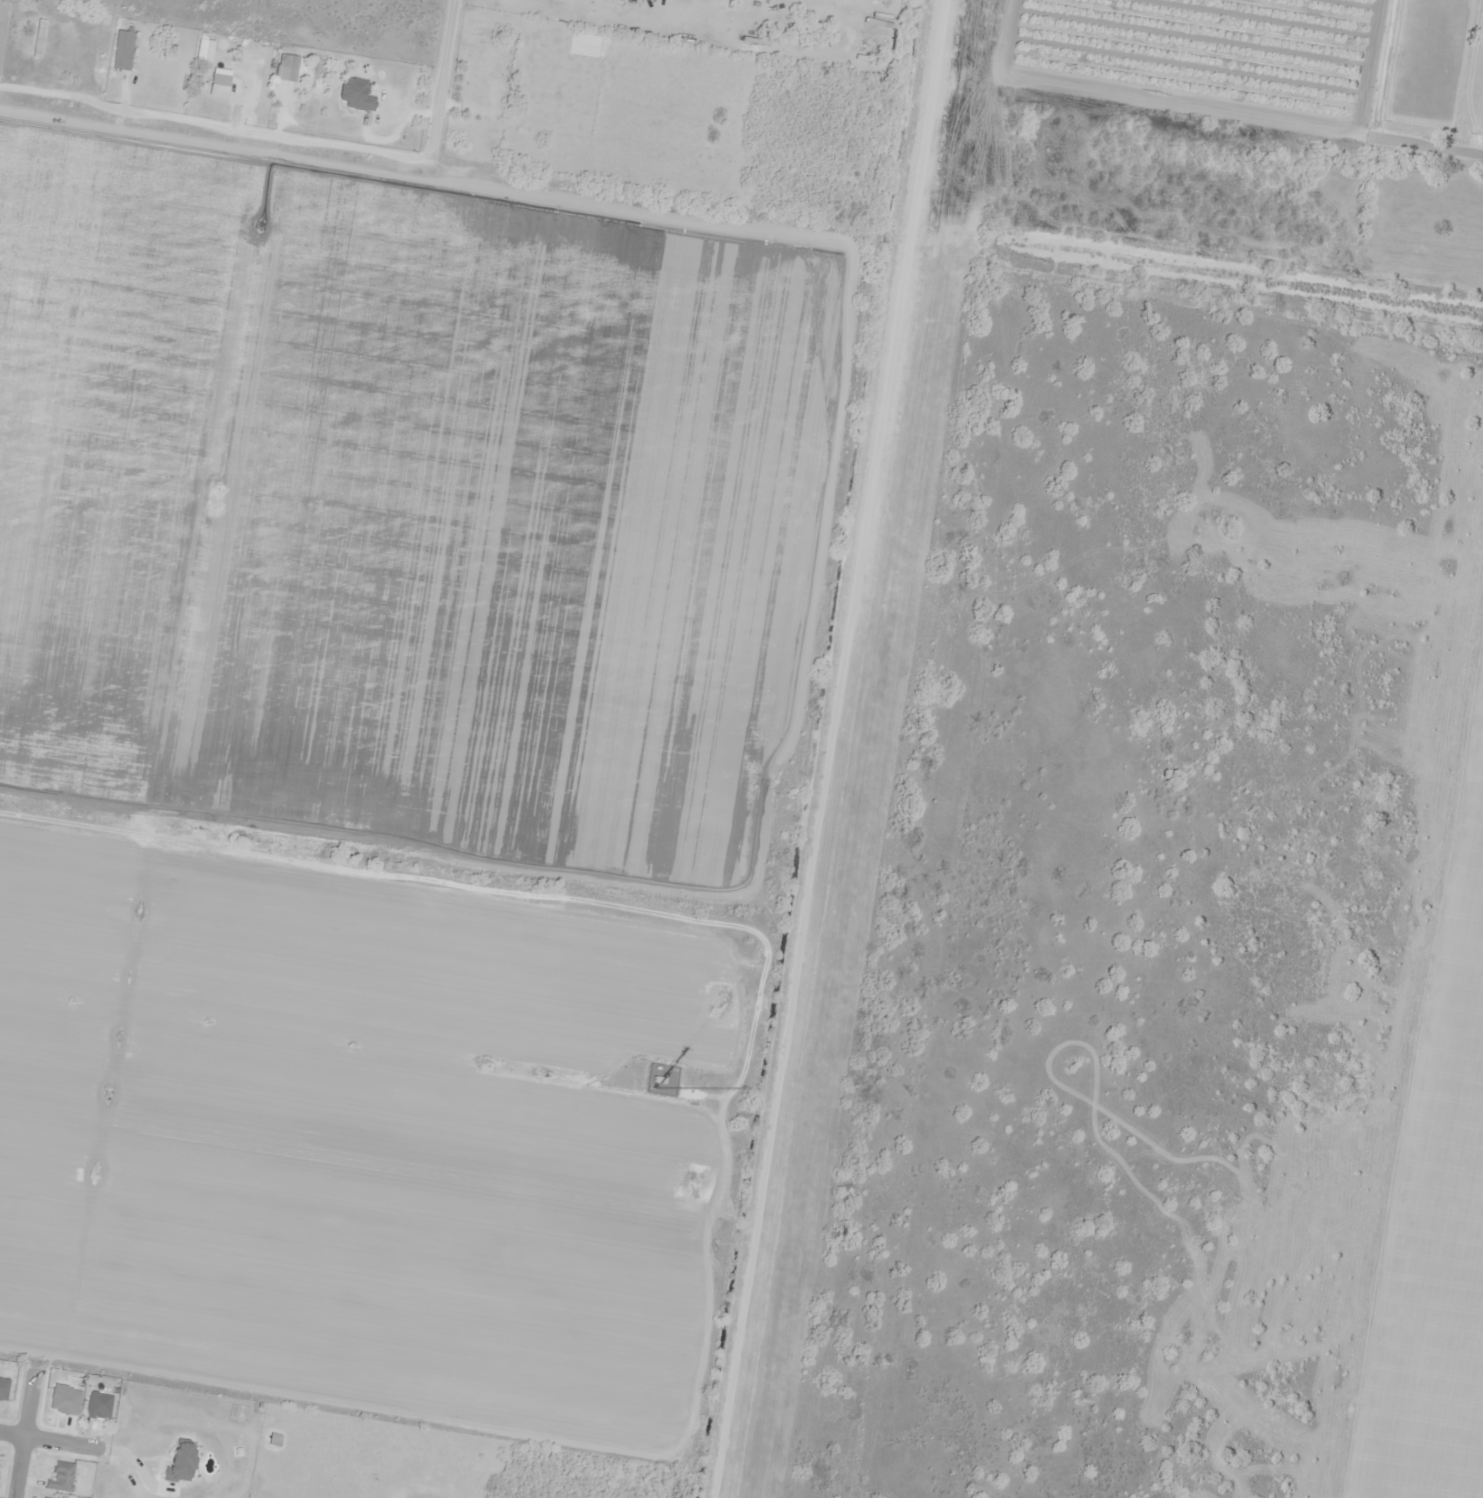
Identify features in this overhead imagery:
building: (59, 43)
building: (124, 50)
building: (283, 67)
road: (443, 79)
building: (219, 85)
building: (353, 94)
road: (215, 123)
road: (1431, 147)
railway: (914, 749)
building: (4, 1388)
building: (96, 1405)
road: (25, 1433)
road: (48, 1438)
building: (0, 1463)
building: (62, 1477)
building: (49, 1497)

